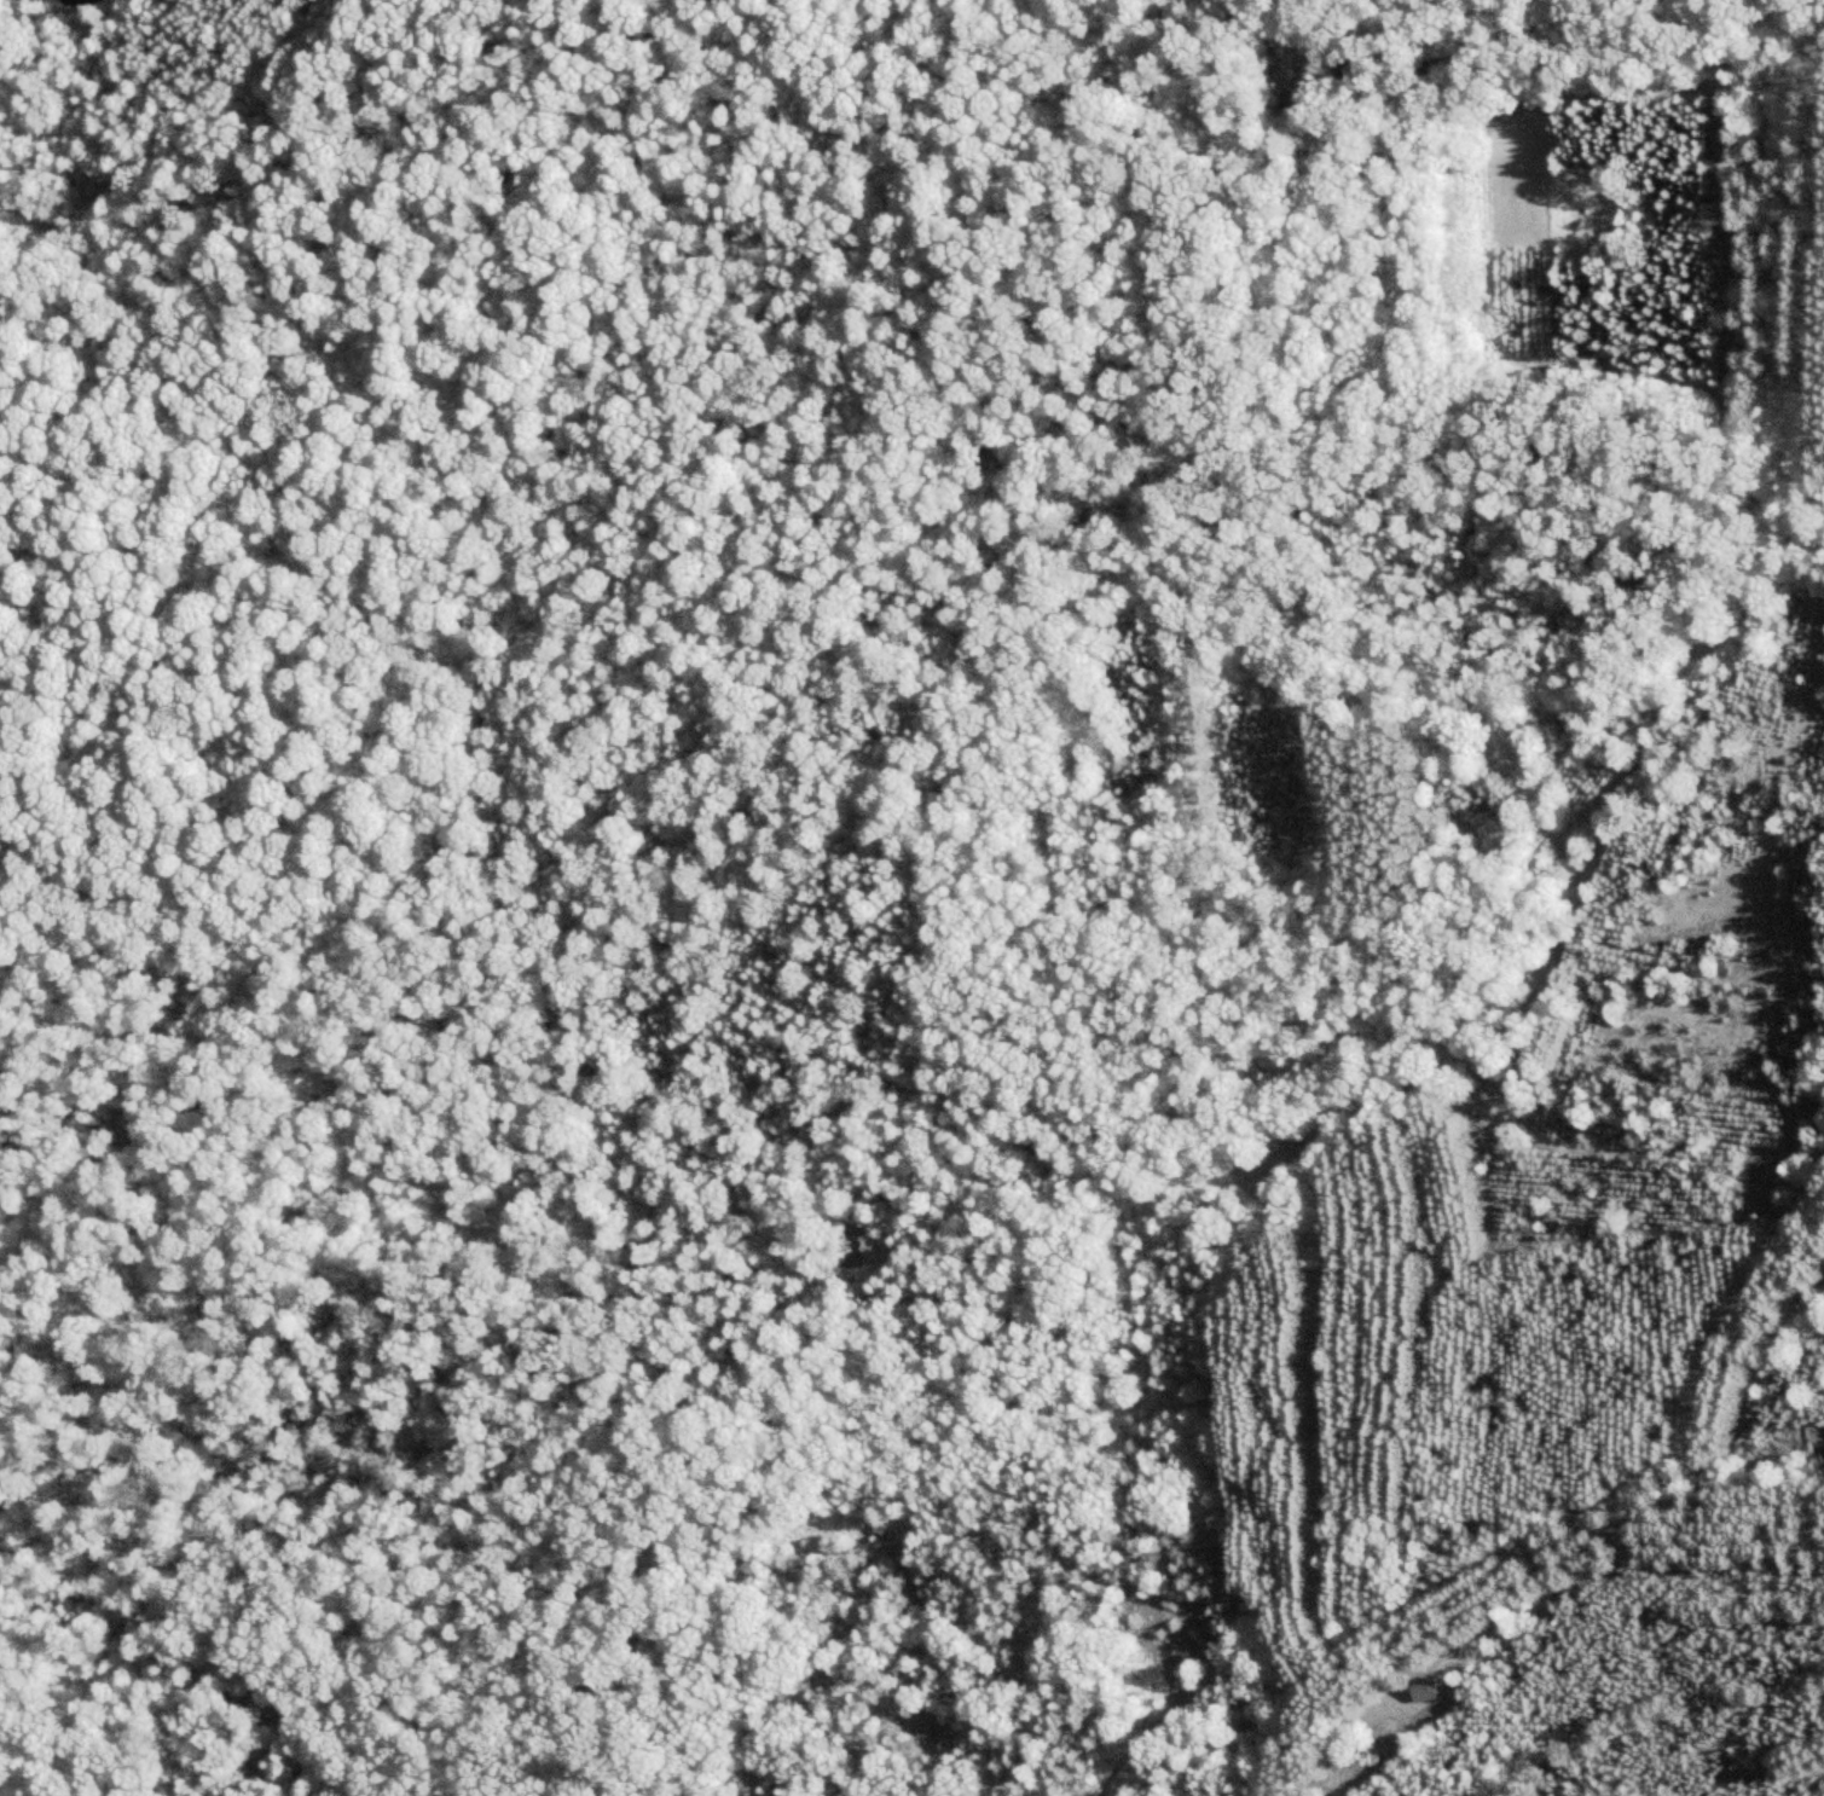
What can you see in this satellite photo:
building: (1429, 1687)

